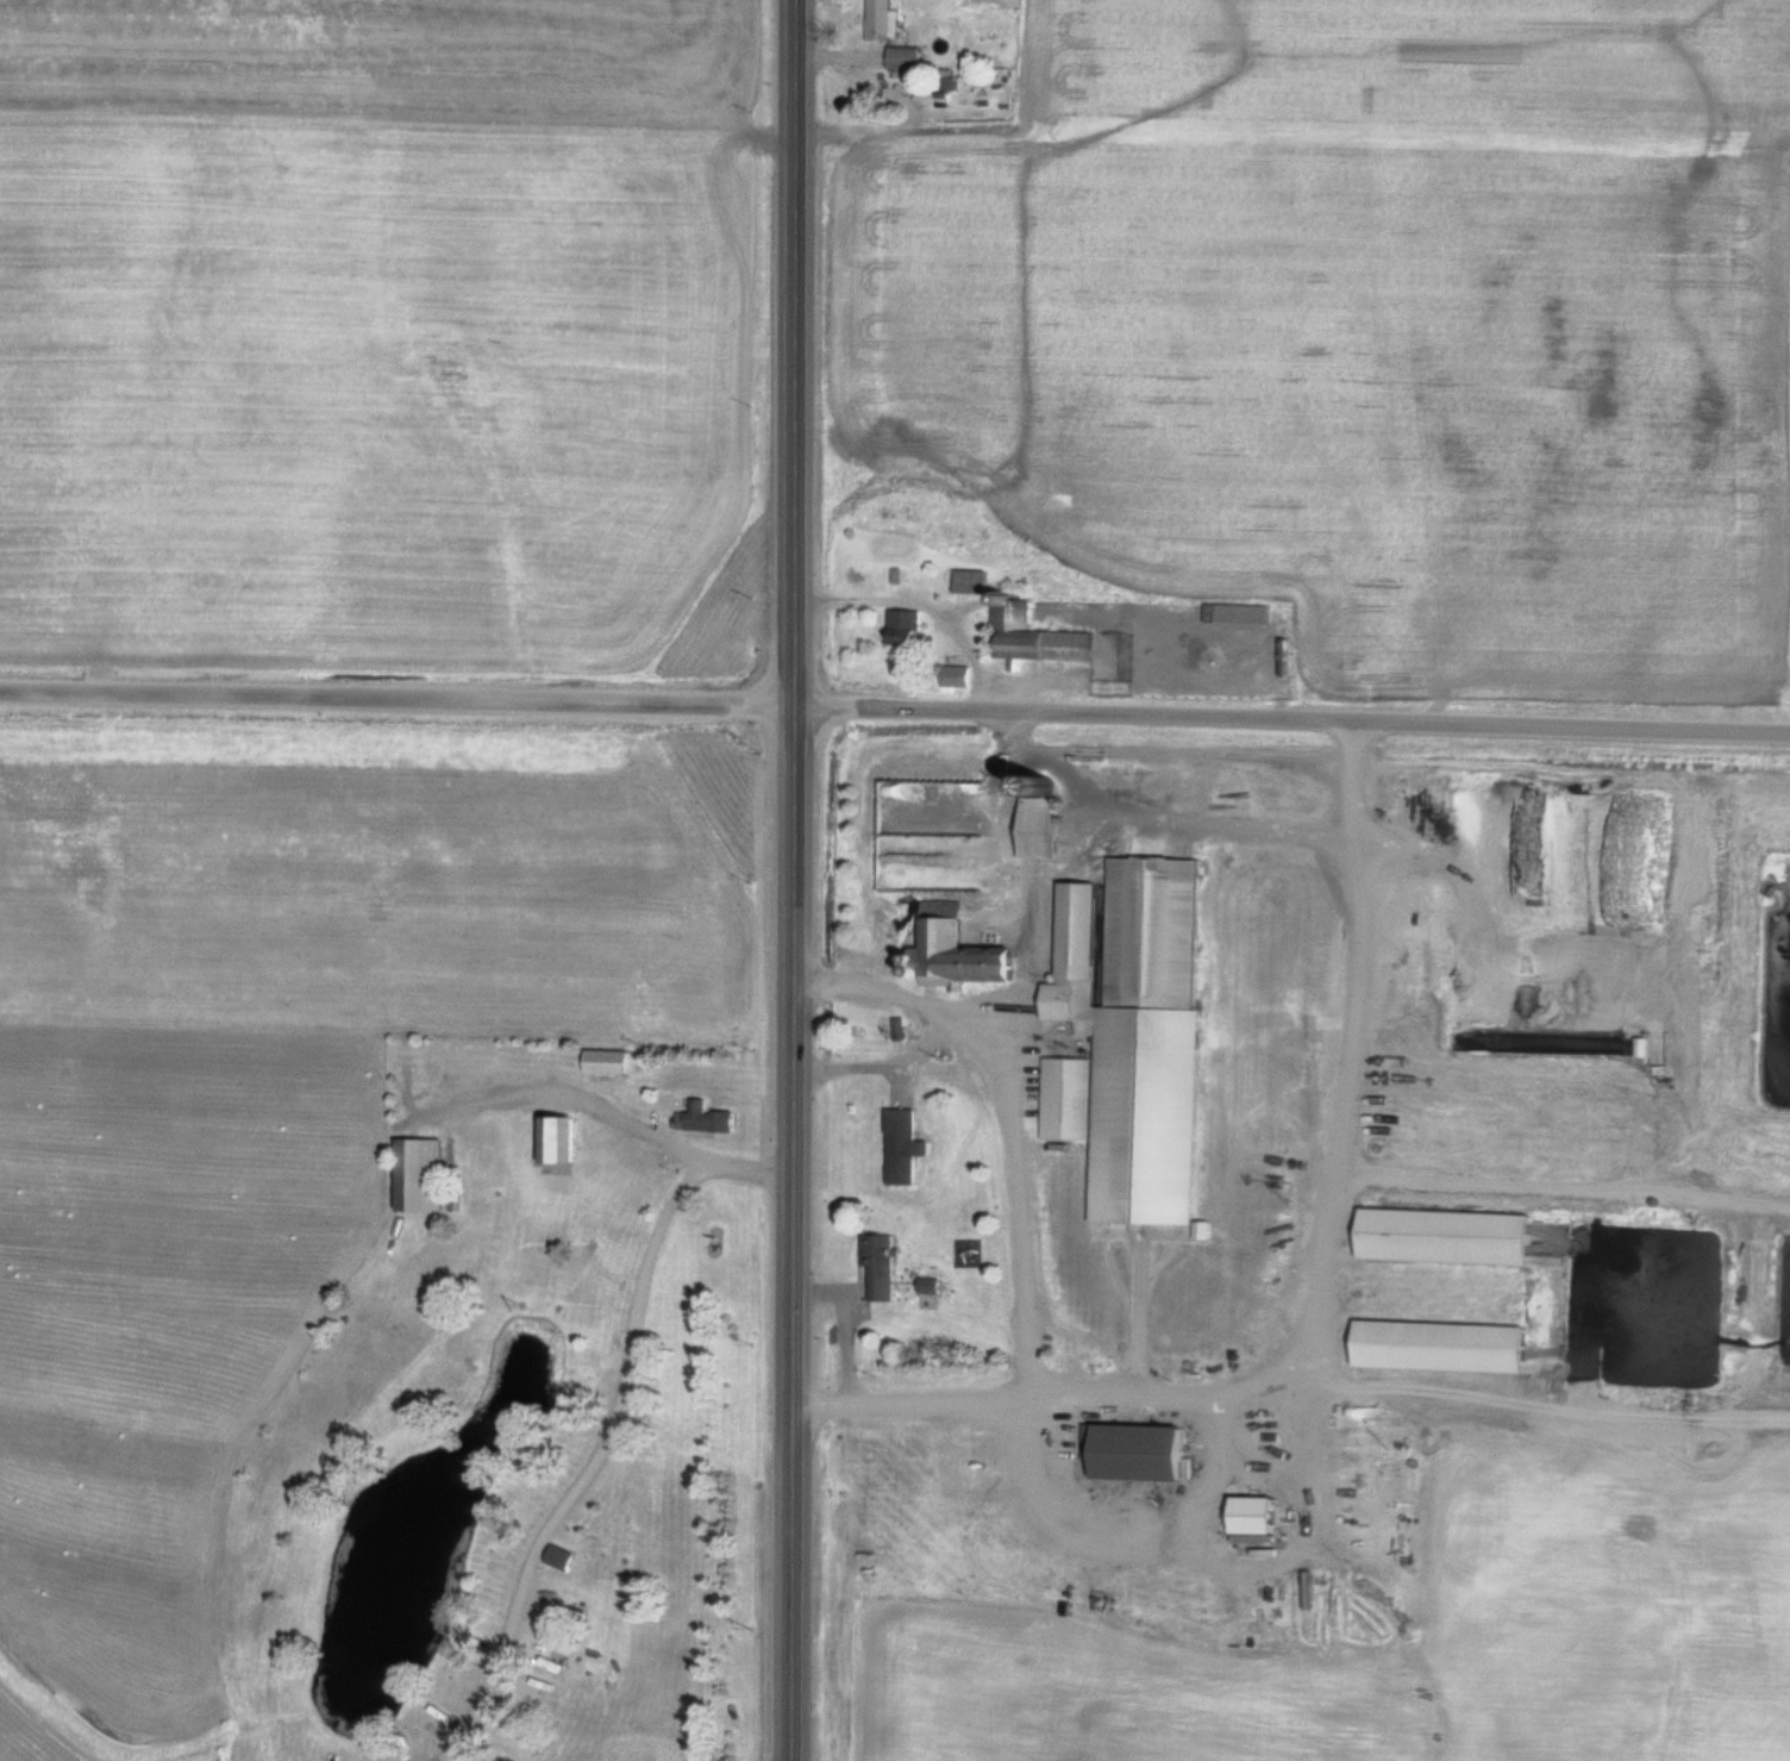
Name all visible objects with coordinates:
building: (878, 20)
building: (900, 58)
building: (968, 583)
building: (1233, 614)
building: (901, 627)
building: (1028, 636)
building: (951, 676)
road: (396, 698)
road: (1293, 711)
road: (794, 880)
building: (1125, 941)
building: (950, 951)
building: (1014, 1049)
building: (605, 1062)
road: (559, 1098)
building: (1064, 1100)
building: (702, 1119)
building: (555, 1143)
building: (900, 1148)
building: (417, 1176)
building: (1438, 1237)
building: (877, 1269)
building: (1433, 1348)
road: (611, 1430)
building: (1128, 1450)
building: (1247, 1515)
building: (556, 1556)

